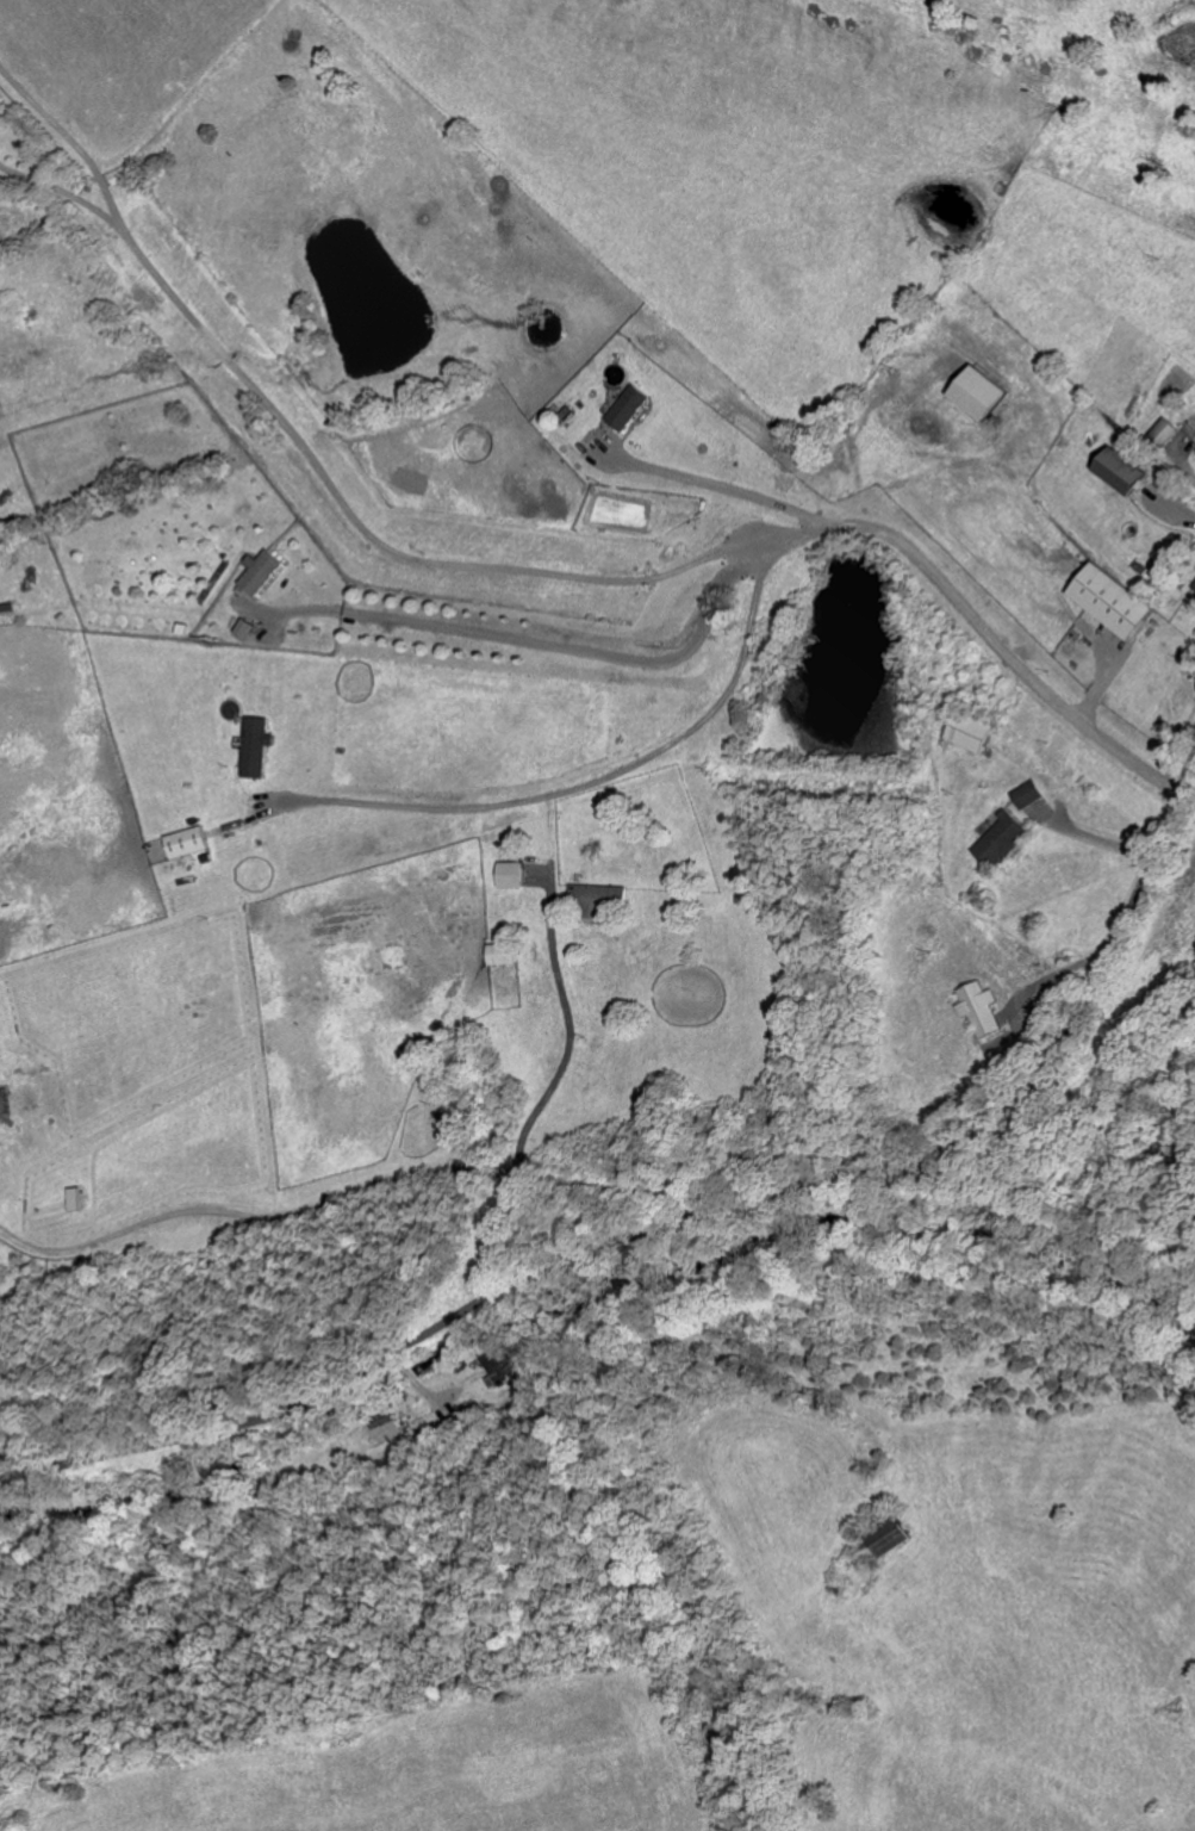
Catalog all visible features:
building: (979, 395)
building: (630, 409)
building: (1165, 433)
road: (305, 455)
road: (1184, 467)
building: (1122, 472)
road: (712, 486)
building: (262, 575)
building: (1112, 603)
road: (975, 625)
road: (583, 651)
building: (971, 733)
building: (259, 749)
road: (597, 782)
building: (1027, 796)
building: (1002, 843)
building: (188, 844)
building: (510, 876)
building: (979, 1011)
road: (570, 1038)
road: (631, 1188)
building: (73, 1202)
road: (260, 1217)
road: (687, 1221)
building: (498, 1365)
building: (891, 1538)

